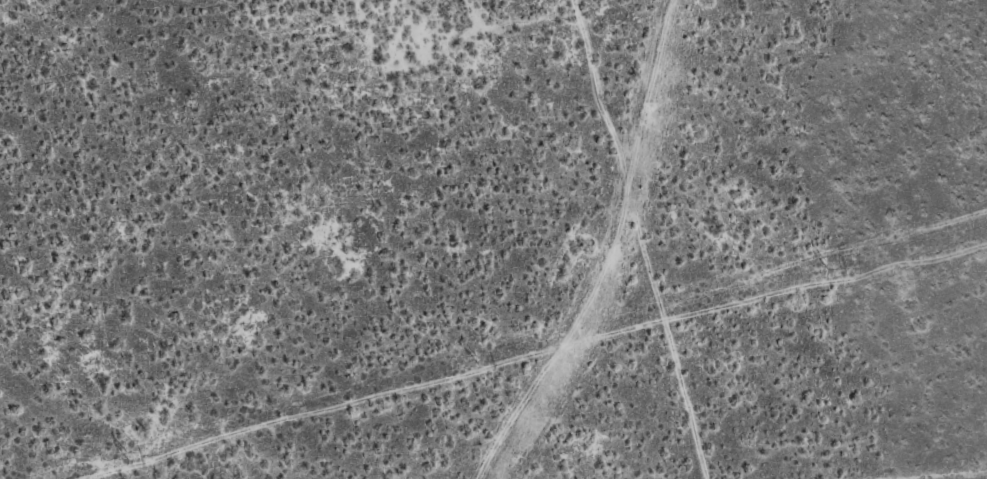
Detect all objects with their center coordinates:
power tower: (823, 263)
power tower: (477, 360)
power tower: (124, 453)

